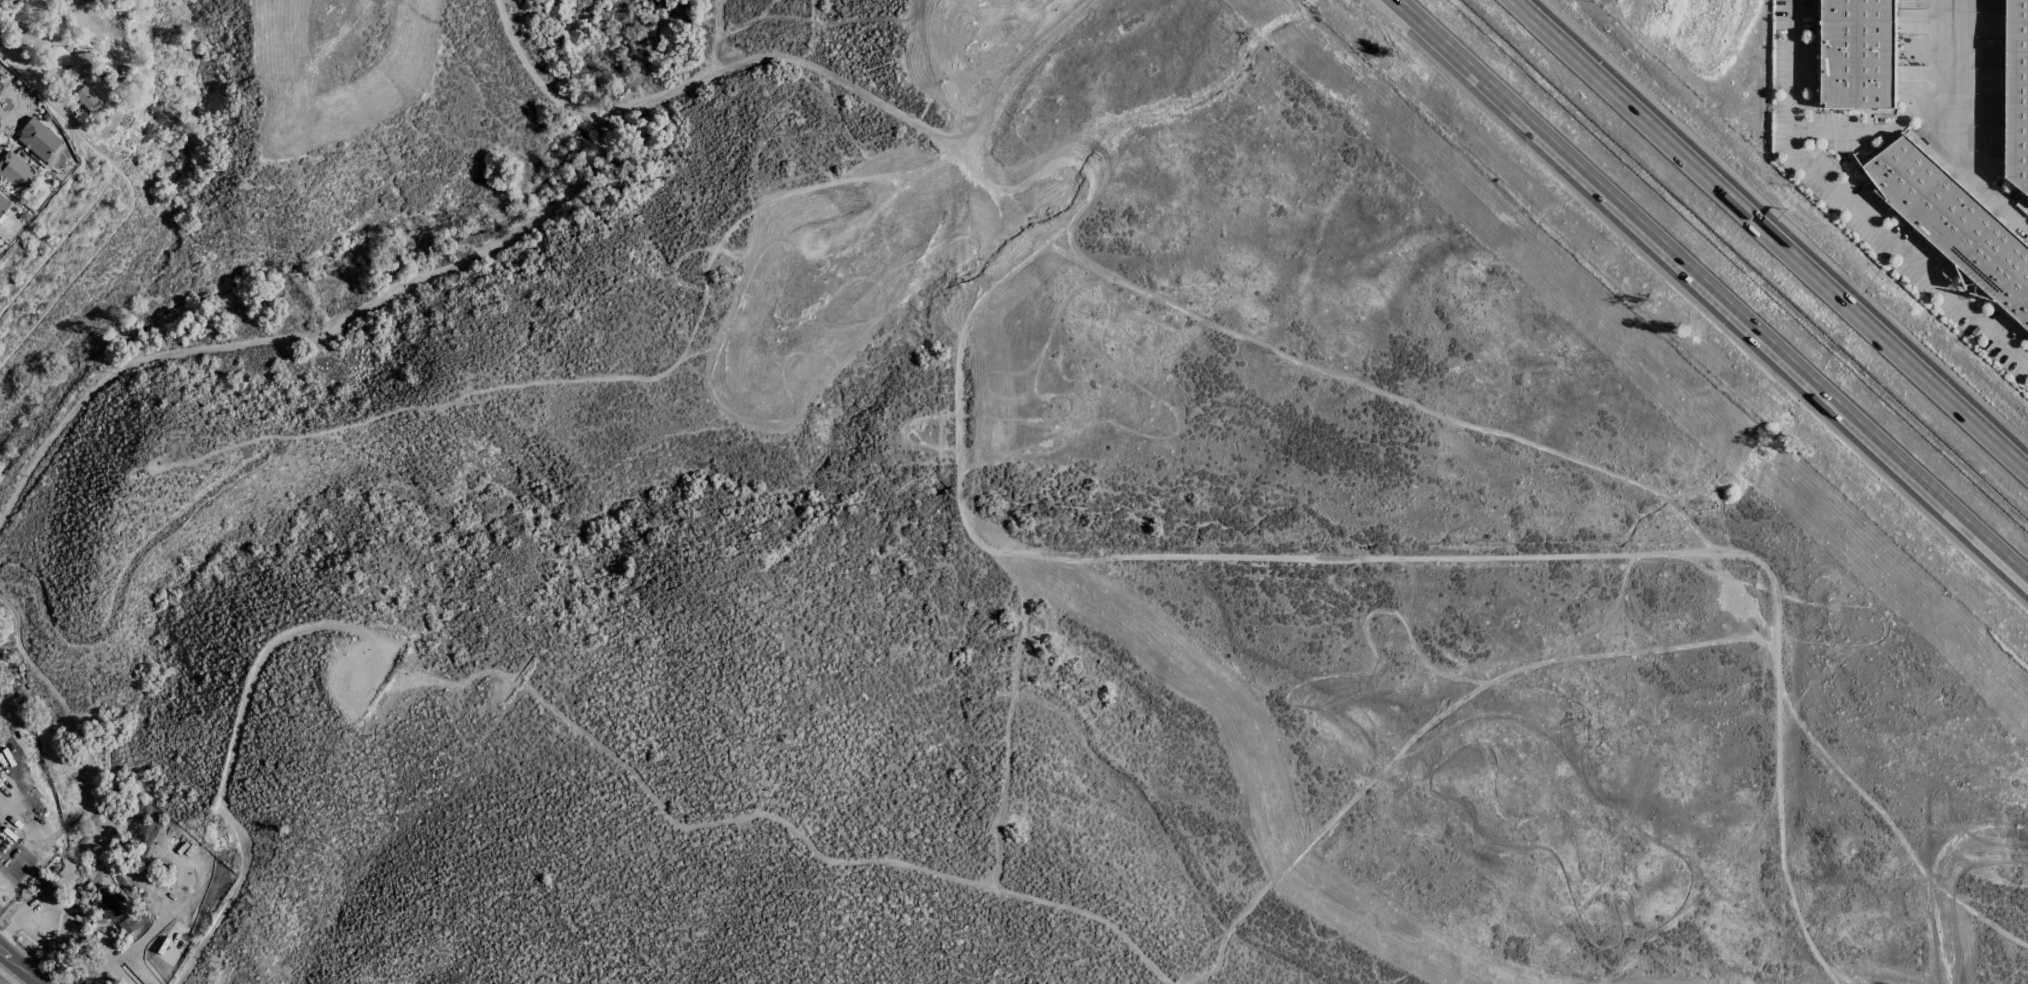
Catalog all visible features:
building: (1859, 53)
road: (21, 61)
building: (82, 61)
building: (2017, 94)
building: (86, 100)
road: (1954, 128)
road: (1880, 133)
building: (37, 138)
building: (54, 154)
building: (15, 172)
building: (3, 205)
road: (1853, 207)
building: (1954, 223)
road: (1770, 235)
road: (1710, 290)
road: (958, 469)
road: (1780, 777)
building: (106, 902)
building: (130, 924)
road: (19, 967)

